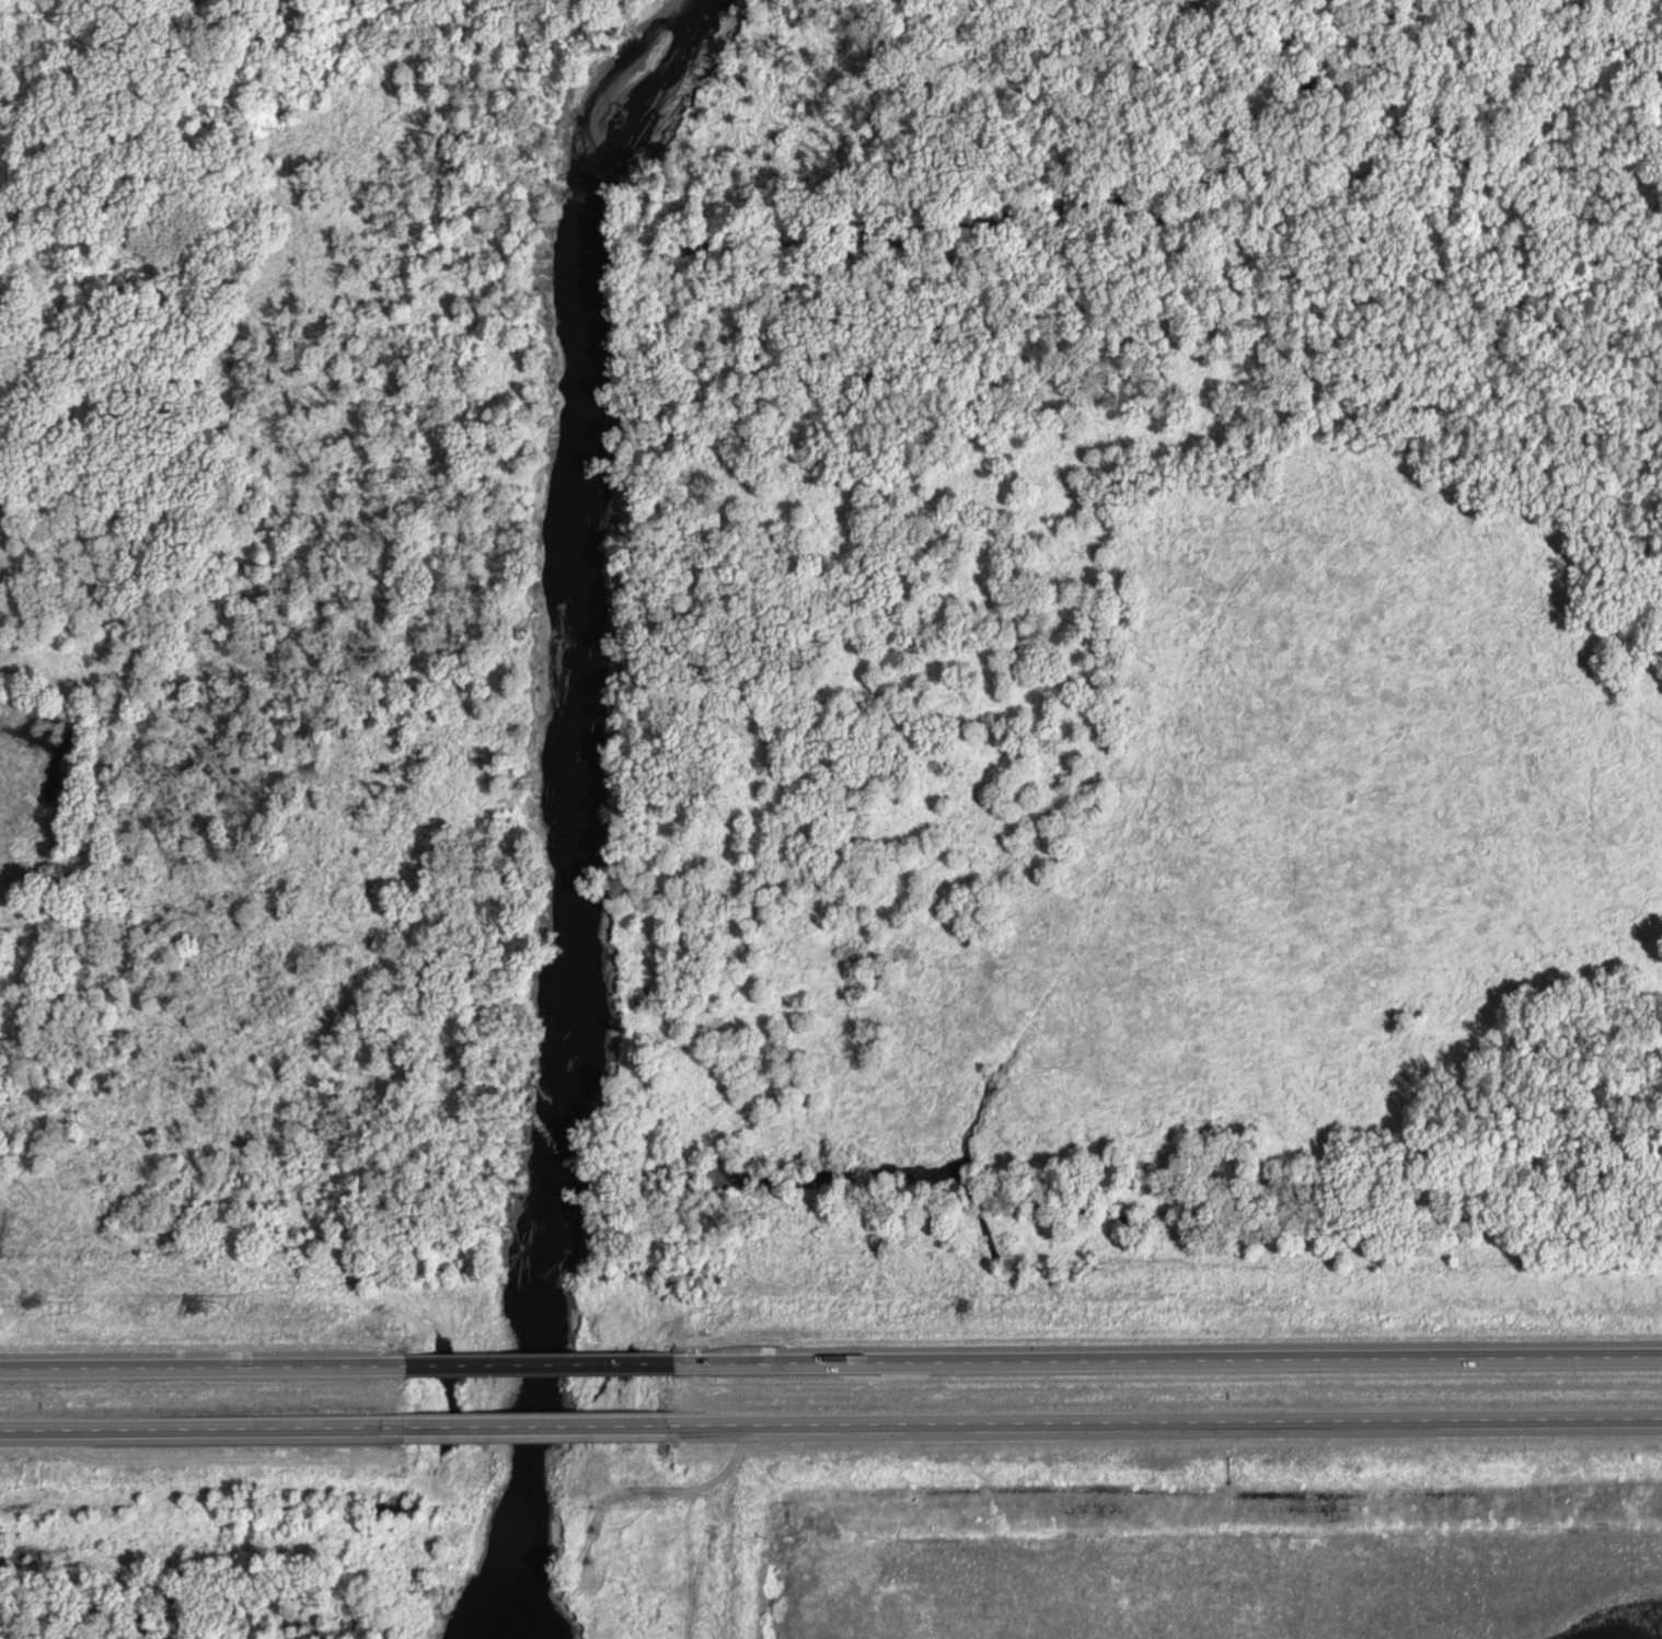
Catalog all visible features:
road: (1167, 1362)
road: (200, 1366)
road: (536, 1367)
building: (431, 1418)
road: (1159, 1424)
building: (619, 1426)
road: (533, 1428)
road: (205, 1431)

